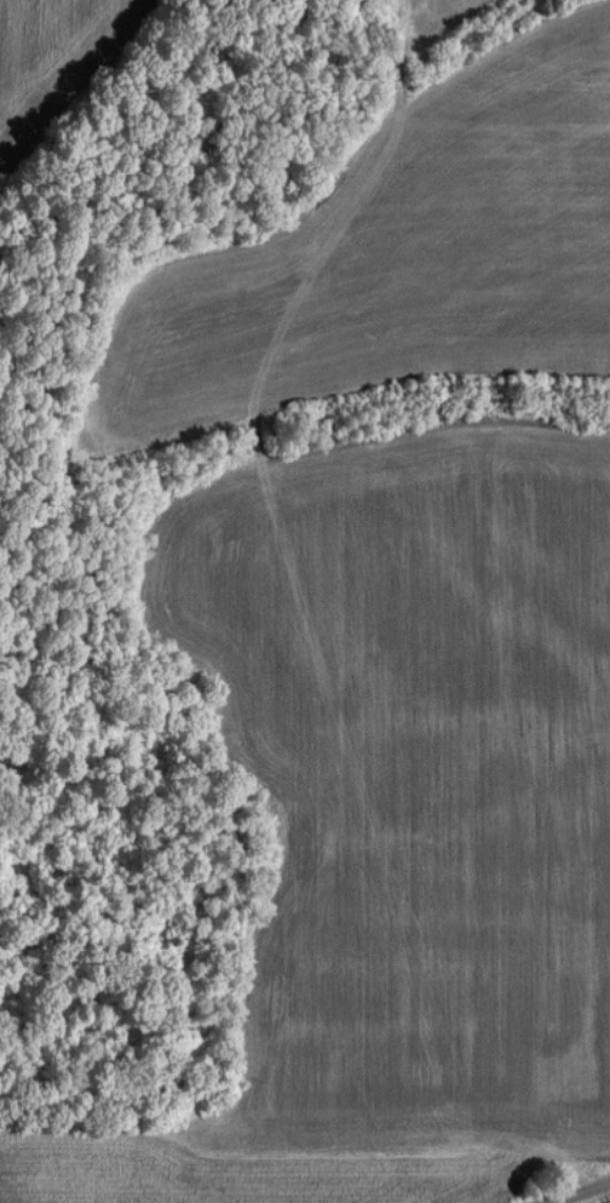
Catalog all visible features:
road: (575, 1192)

